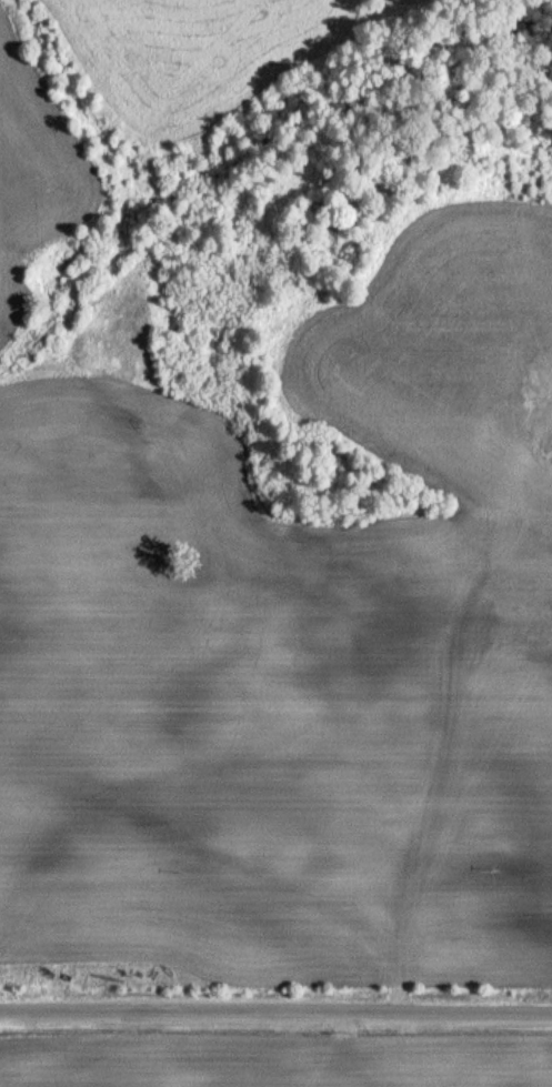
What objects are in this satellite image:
road: (275, 1009)

